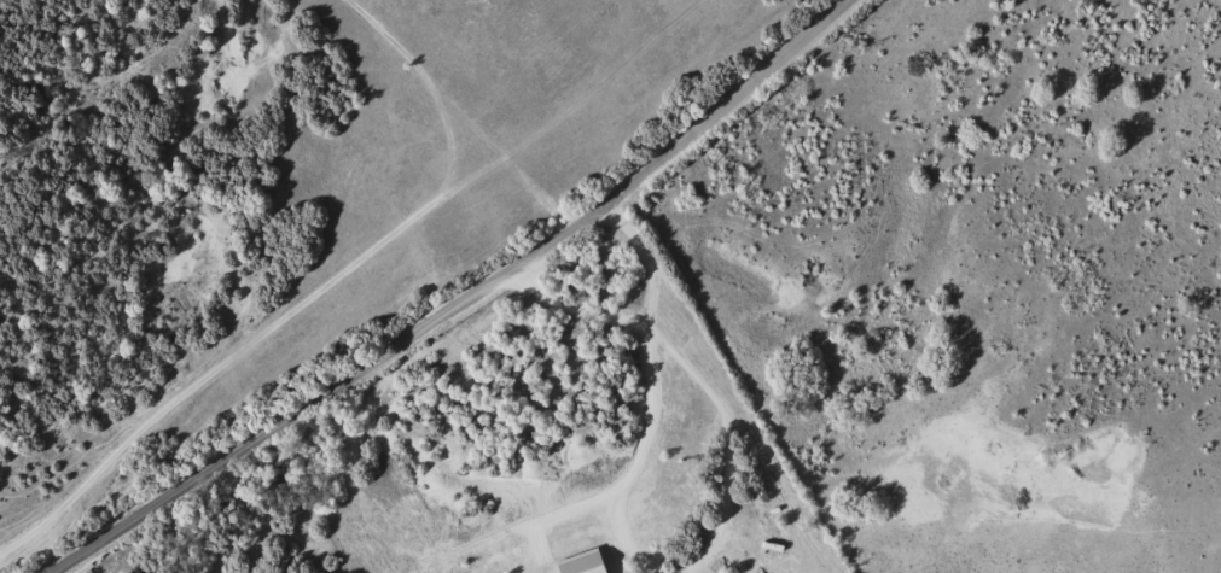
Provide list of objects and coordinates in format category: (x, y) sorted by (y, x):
road: (471, 304)

